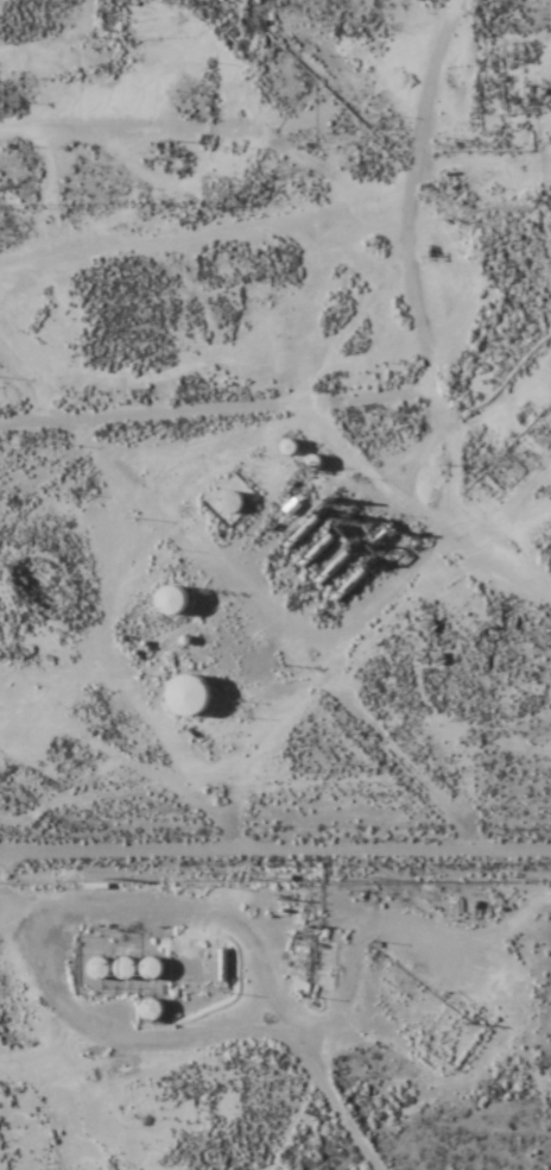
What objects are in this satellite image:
building: (227, 502)
building: (173, 600)
road: (275, 773)
building: (127, 967)
building: (100, 968)
building: (150, 968)
building: (152, 1009)
road: (337, 1092)

